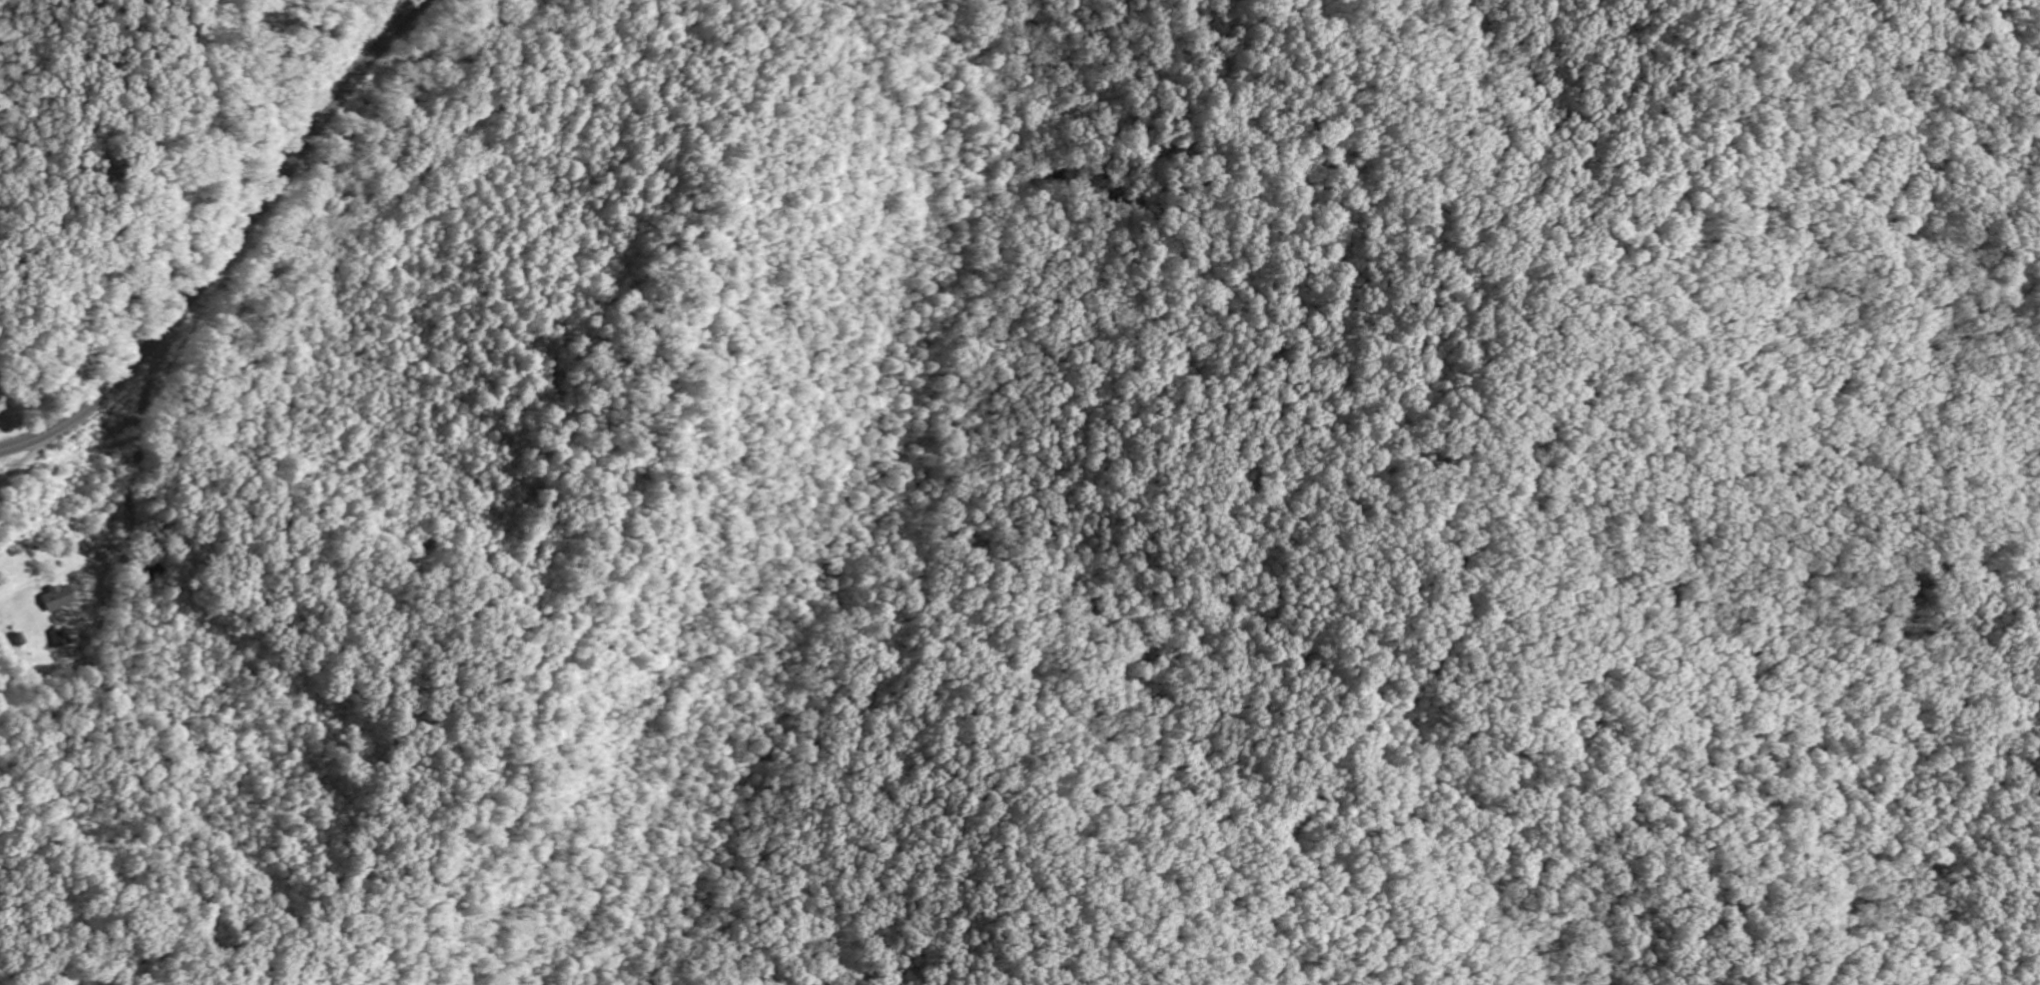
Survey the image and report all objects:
road: (228, 246)
road: (1559, 440)
building: (58, 599)
building: (59, 639)
road: (1889, 982)

